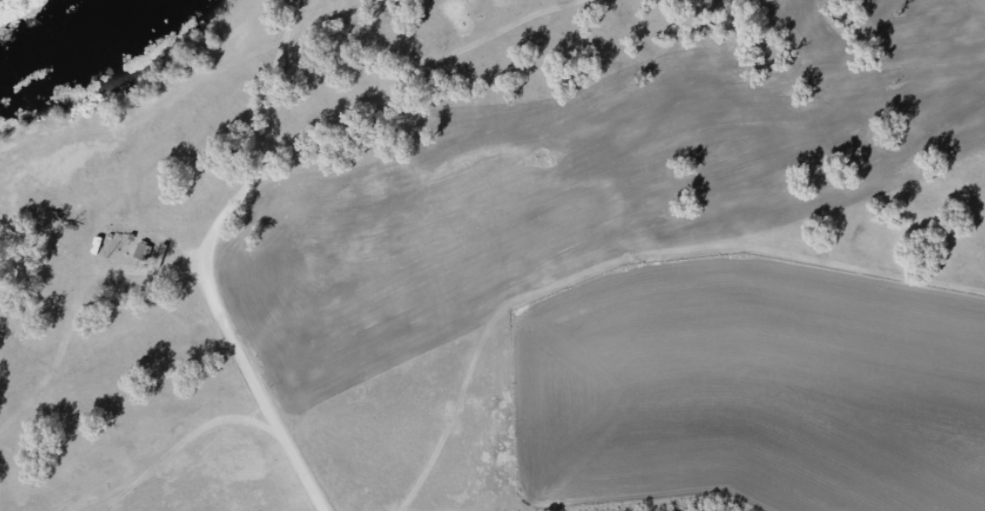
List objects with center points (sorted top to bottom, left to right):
river: (44, 30)
road: (304, 70)
road: (475, 96)
road: (240, 329)

